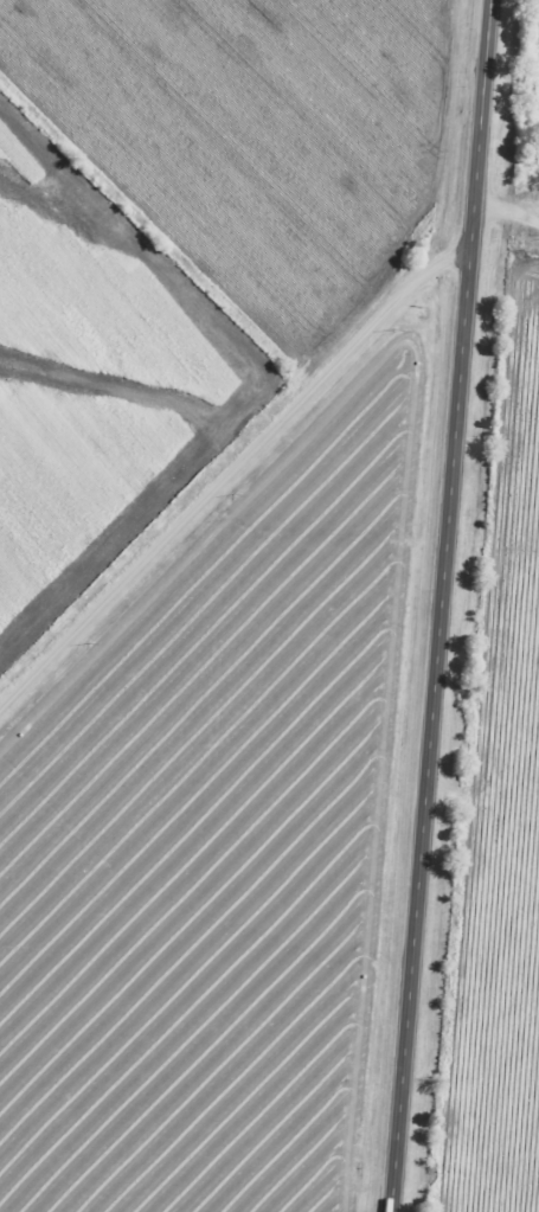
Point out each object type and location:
road: (226, 469)
road: (438, 605)

